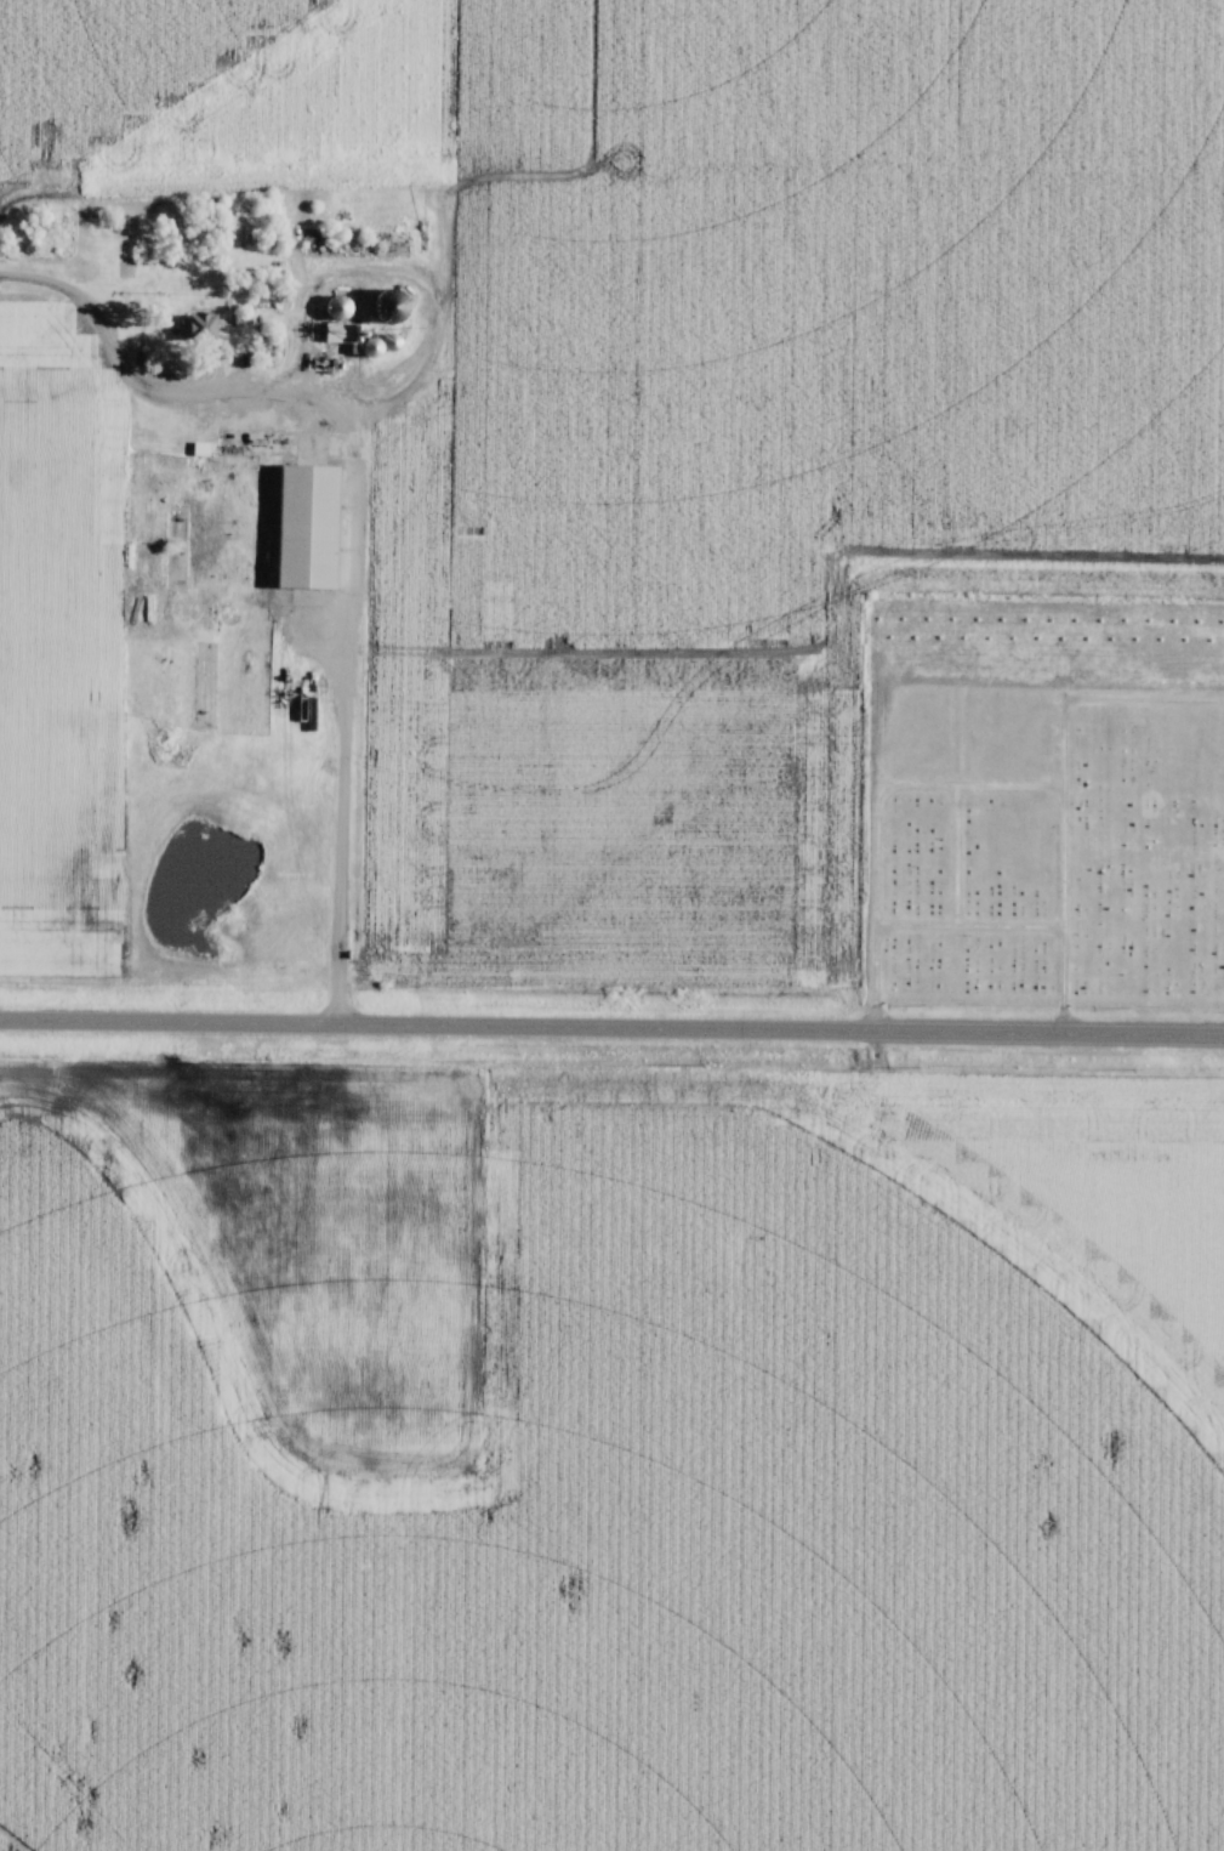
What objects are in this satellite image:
building: (393, 305)
building: (340, 308)
building: (201, 327)
building: (354, 337)
crop: (713, 403)
road: (368, 496)
building: (307, 523)
road: (1065, 789)
road: (923, 926)
road: (611, 1030)
crop: (610, 1457)

